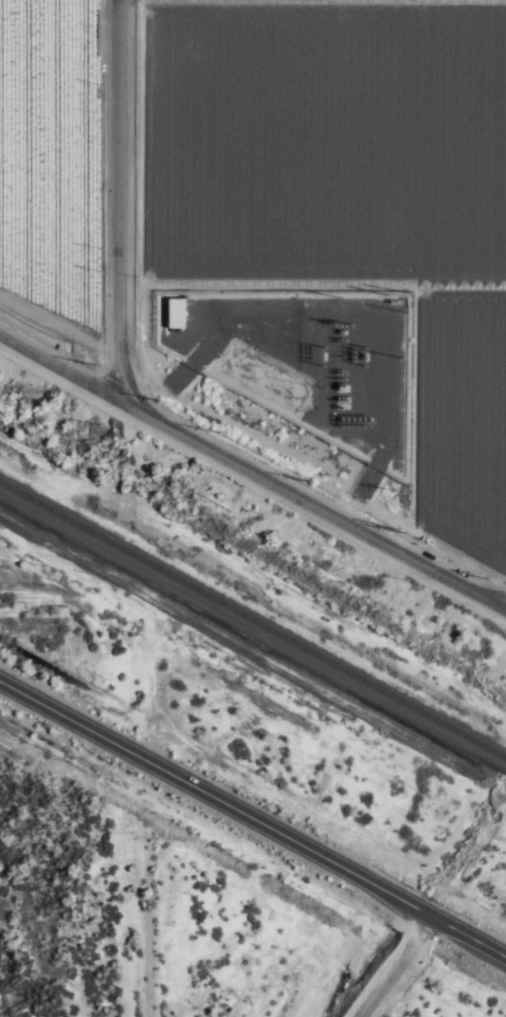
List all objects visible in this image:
crop: (54, 170)
road: (111, 195)
road: (100, 229)
building: (176, 312)
road: (252, 472)
road: (489, 595)
railway: (252, 621)
railway: (252, 632)
railway: (505, 770)
road: (252, 823)
road: (401, 970)

